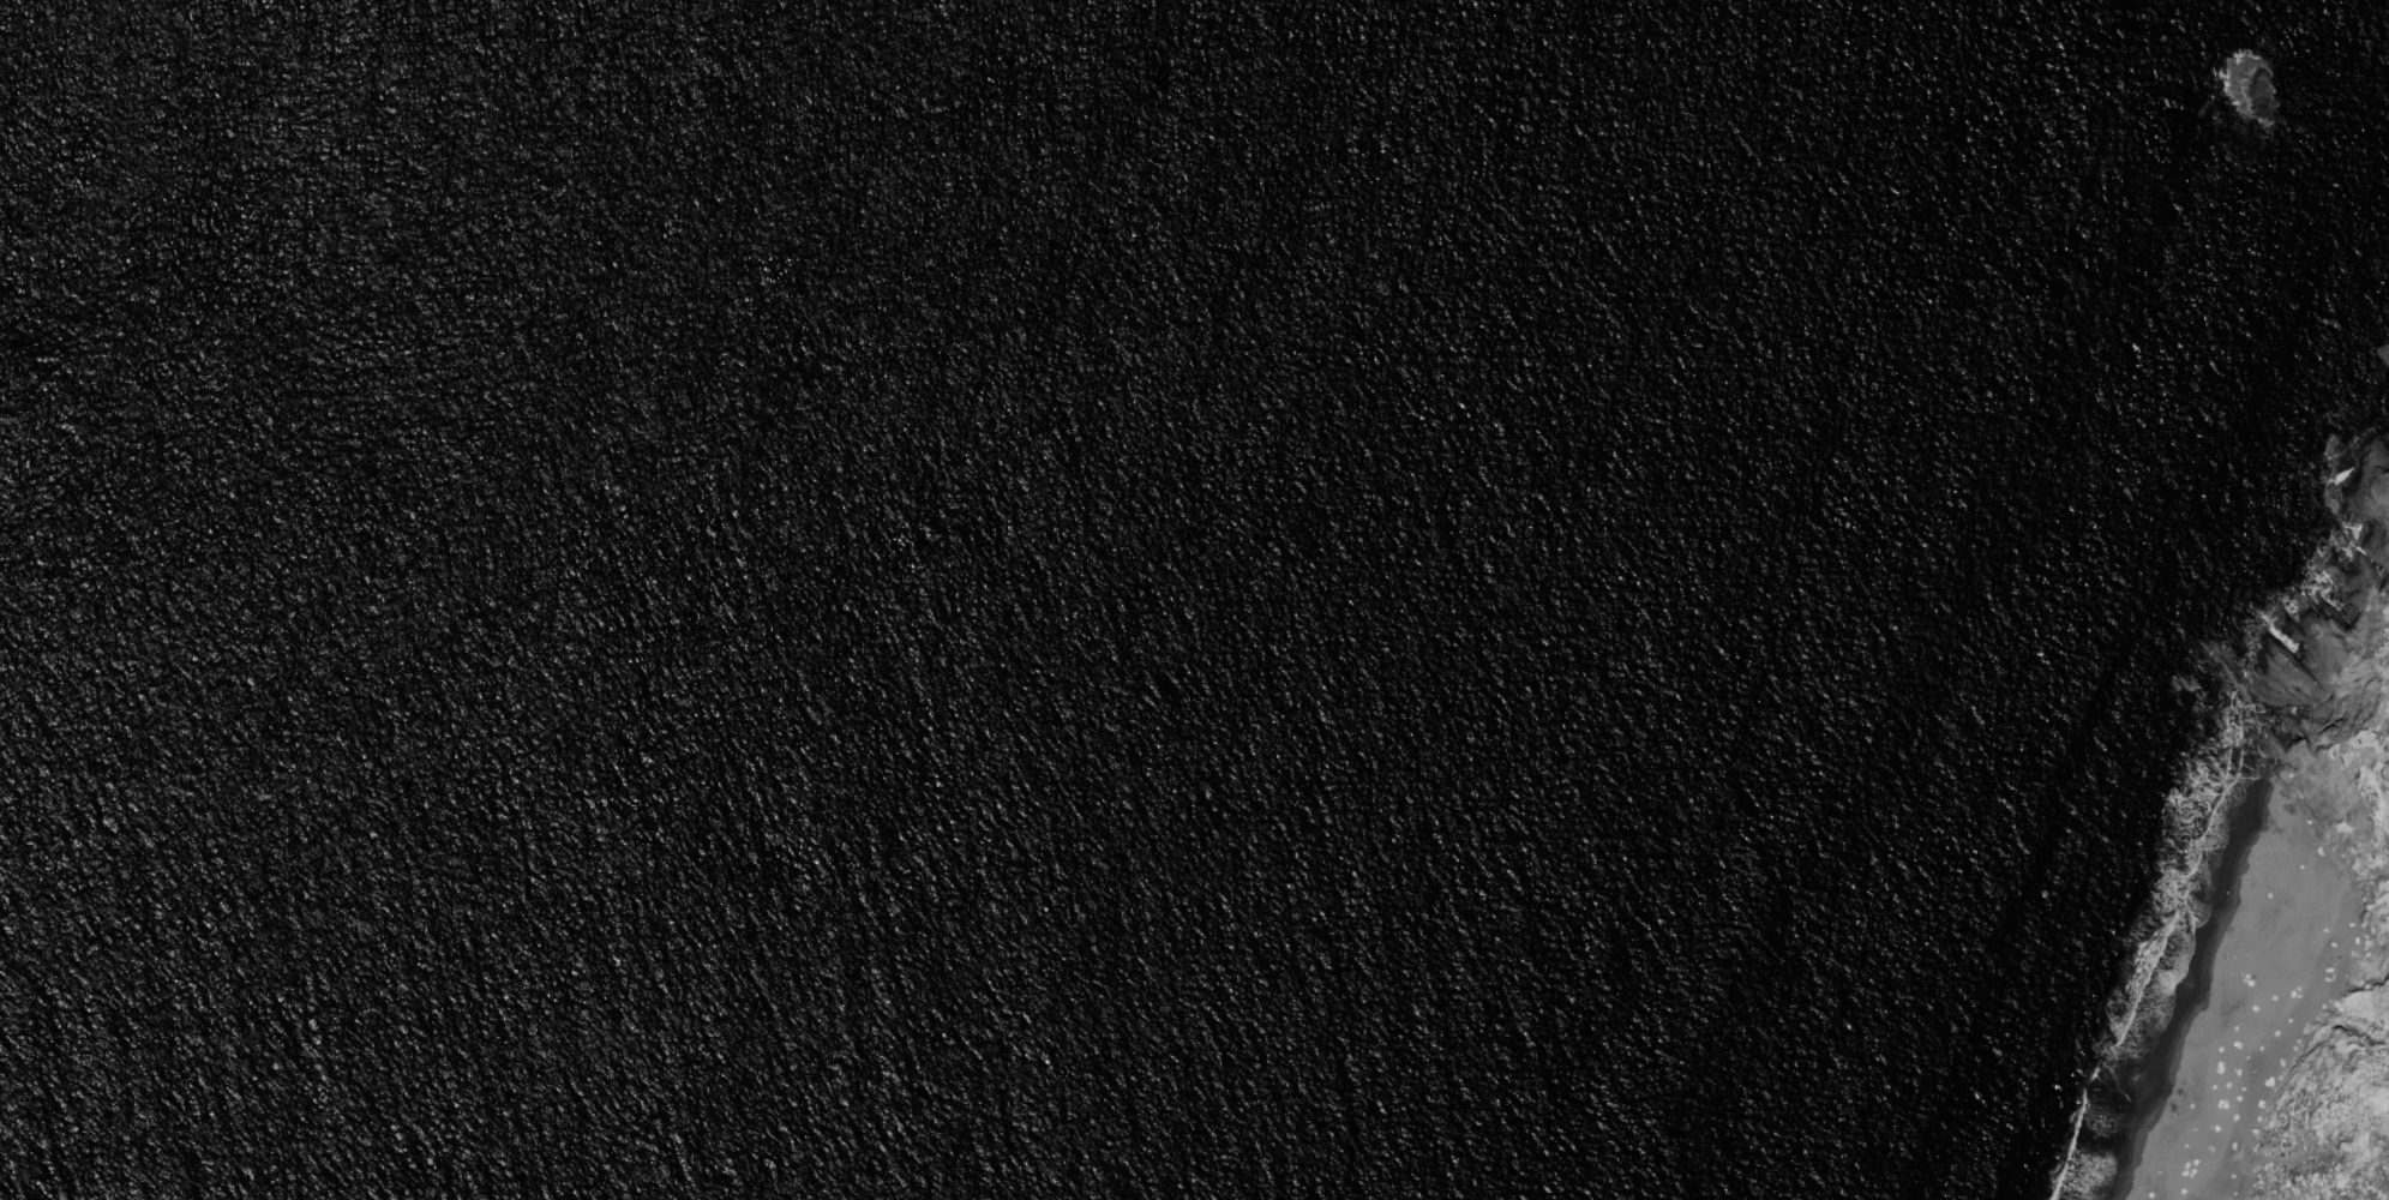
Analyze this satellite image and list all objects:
road: (2388, 661)
road: (2379, 718)
park: (2285, 923)

